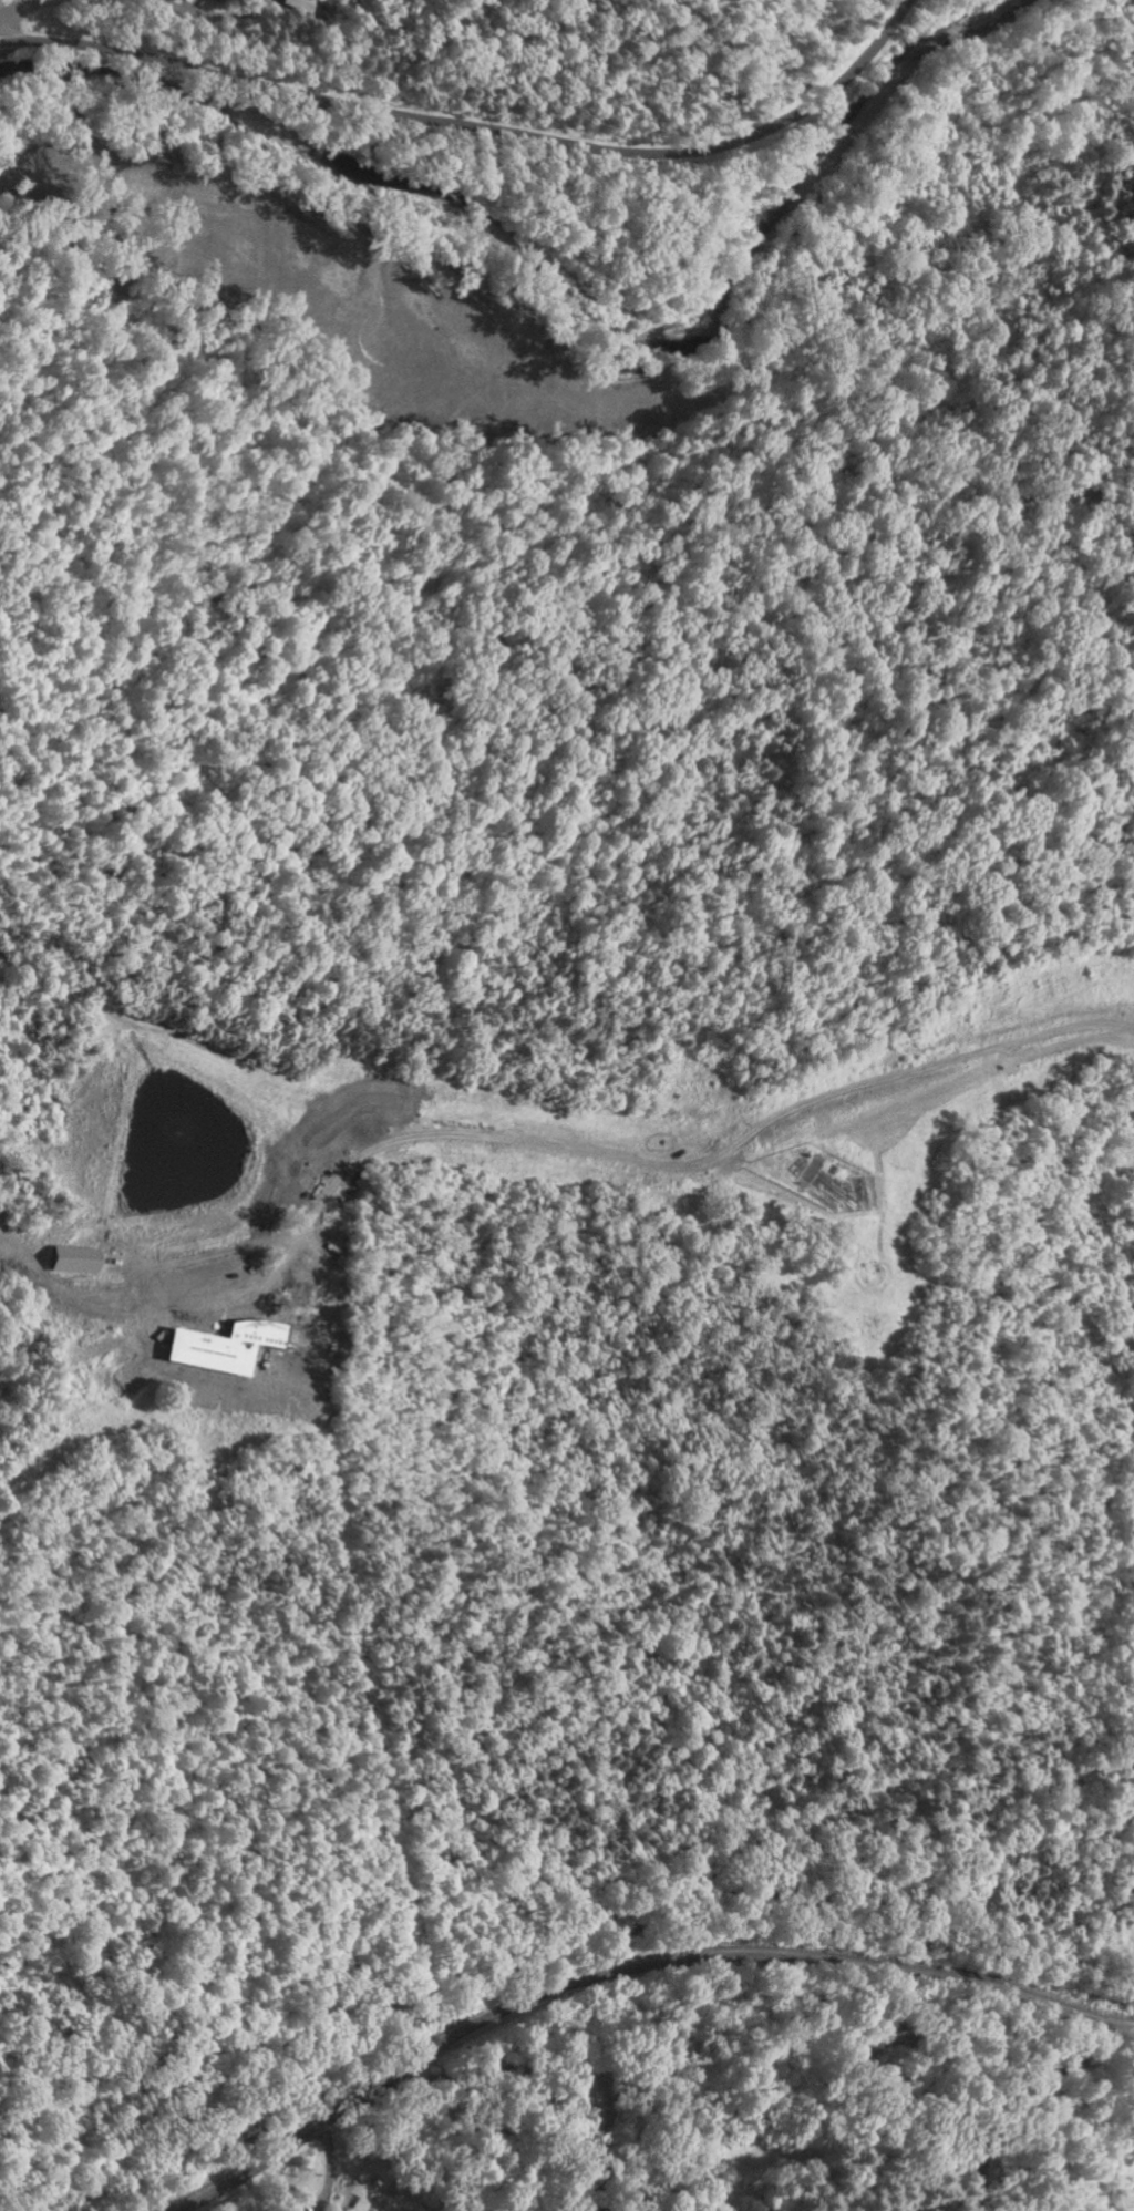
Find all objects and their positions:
building: (216, 0)
road: (19, 4)
building: (299, 4)
road: (481, 126)
road: (670, 1158)
building: (72, 1258)
road: (629, 1970)
road: (580, 2077)

